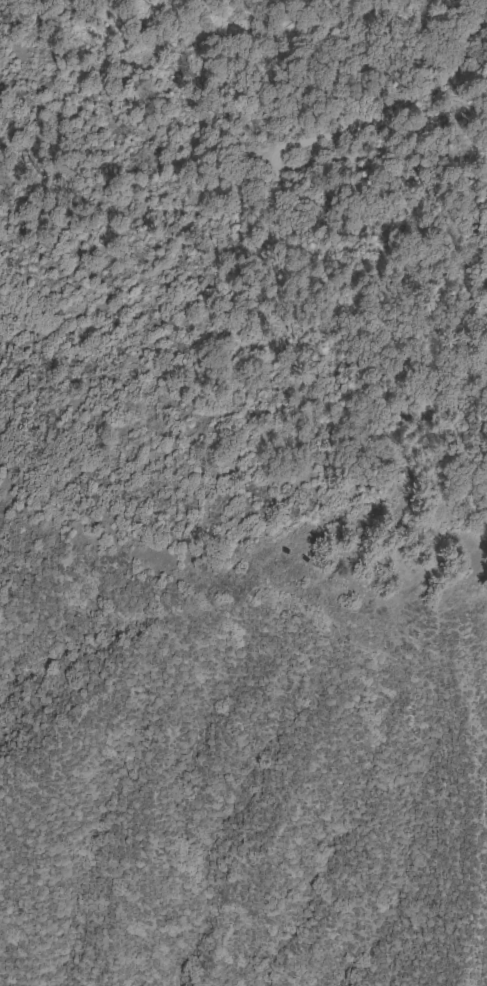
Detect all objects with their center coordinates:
road: (280, 156)

